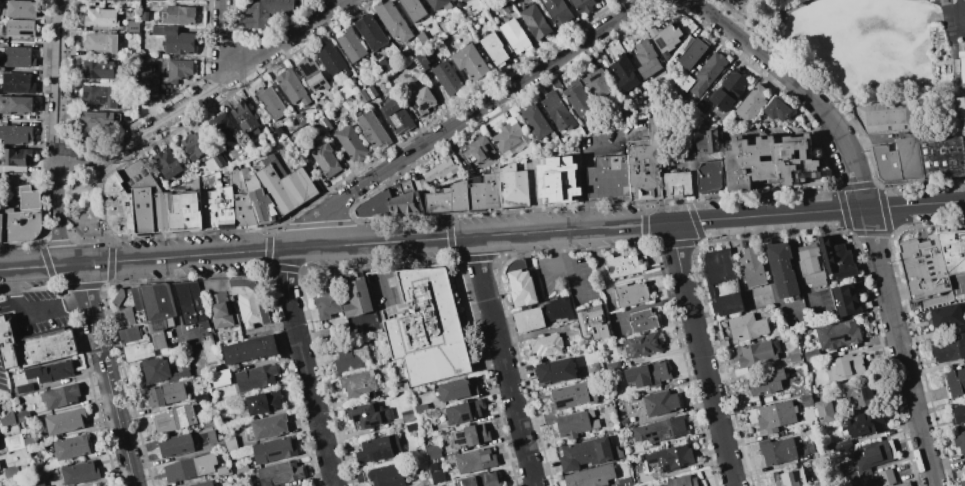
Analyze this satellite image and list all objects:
building: (108, 0)
building: (452, 0)
building: (453, 0)
park: (932, 0)
building: (133, 3)
building: (439, 4)
building: (152, 5)
building: (583, 5)
building: (199, 6)
road: (801, 6)
building: (507, 8)
building: (413, 9)
building: (19, 10)
park: (953, 10)
building: (557, 11)
road: (770, 11)
building: (265, 12)
building: (179, 15)
building: (145, 16)
park: (763, 17)
building: (101, 18)
building: (392, 21)
building: (535, 22)
building: (132, 26)
building: (444, 27)
building: (20, 28)
building: (369, 31)
building: (515, 36)
road: (777, 36)
road: (225, 37)
building: (422, 38)
building: (663, 38)
building: (175, 39)
rooftop solar panel: (659, 43)
building: (101, 44)
building: (350, 44)
building: (495, 49)
building: (690, 51)
building: (405, 53)
building: (18, 57)
building: (331, 59)
building: (646, 59)
building: (421, 62)
building: (471, 62)
building: (384, 66)
building: (961, 66)
rooftop solar panel: (302, 69)
rooftop solar panel: (309, 69)
rooftop solar panel: (313, 69)
building: (101, 71)
building: (178, 71)
building: (707, 72)
building: (312, 74)
building: (623, 74)
building: (148, 75)
rooftop solar panel: (118, 77)
road: (58, 78)
building: (447, 78)
road: (225, 79)
building: (362, 79)
building: (685, 82)
building: (18, 83)
rooftop solar panel: (323, 83)
building: (556, 84)
building: (596, 84)
rooftop solar panel: (319, 85)
building: (291, 86)
building: (344, 90)
building: (370, 91)
building: (727, 91)
building: (149, 95)
building: (362, 96)
building: (99, 97)
rooftop solar panel: (101, 97)
building: (578, 98)
building: (420, 101)
building: (271, 103)
building: (750, 103)
building: (16, 104)
building: (702, 105)
building: (321, 106)
building: (775, 109)
building: (558, 112)
road: (470, 114)
building: (397, 117)
building: (885, 117)
building: (245, 119)
building: (961, 119)
building: (301, 120)
building: (95, 121)
building: (536, 122)
rooftop solar panel: (397, 123)
building: (226, 130)
building: (372, 130)
building: (279, 133)
building: (15, 134)
building: (509, 137)
building: (707, 141)
building: (351, 144)
building: (194, 145)
building: (478, 149)
building: (16, 156)
road: (79, 156)
building: (941, 156)
building: (325, 159)
building: (219, 161)
building: (897, 161)
building: (770, 162)
building: (167, 163)
building: (645, 165)
building: (440, 169)
building: (468, 169)
road: (585, 173)
building: (139, 176)
building: (708, 176)
building: (608, 177)
building: (558, 180)
building: (285, 184)
building: (420, 184)
building: (676, 184)
building: (406, 186)
building: (513, 187)
road: (694, 189)
building: (396, 191)
building: (485, 193)
building: (28, 197)
road: (535, 198)
building: (448, 199)
building: (261, 201)
building: (119, 204)
building: (406, 204)
building: (376, 205)
park: (84, 206)
building: (225, 207)
road: (104, 208)
building: (142, 209)
building: (209, 209)
building: (243, 210)
road: (863, 211)
road: (57, 212)
building: (160, 212)
building: (184, 212)
building: (21, 224)
building: (1, 227)
road: (482, 235)
road: (559, 242)
building: (952, 251)
building: (837, 260)
building: (621, 264)
building: (811, 265)
road: (797, 266)
building: (751, 267)
building: (922, 267)
road: (738, 269)
building: (782, 269)
road: (575, 271)
road: (555, 272)
road: (768, 276)
parking lot: (570, 279)
building: (721, 281)
building: (519, 284)
building: (631, 293)
building: (356, 296)
road: (174, 297)
parking lot: (757, 297)
building: (844, 299)
building: (190, 301)
building: (217, 301)
building: (328, 301)
building: (156, 302)
building: (249, 302)
parking lot: (818, 305)
road: (645, 306)
building: (556, 309)
road: (33, 313)
parking lot: (37, 313)
parking lot: (793, 316)
building: (947, 316)
building: (528, 319)
building: (641, 321)
building: (592, 322)
building: (134, 326)
building: (747, 327)
building: (427, 328)
building: (160, 332)
building: (838, 335)
rooftop solar panel: (837, 337)
building: (9, 345)
building: (546, 346)
building: (48, 347)
building: (642, 347)
building: (251, 349)
building: (949, 349)
building: (208, 351)
building: (758, 353)
road: (700, 354)
building: (810, 355)
building: (794, 357)
building: (352, 359)
road: (503, 361)
building: (845, 367)
road: (305, 368)
building: (161, 370)
building: (742, 371)
building: (50, 372)
building: (556, 372)
road: (105, 373)
building: (651, 374)
building: (256, 377)
building: (220, 378)
parking lot: (3, 382)
building: (765, 382)
building: (358, 383)
building: (955, 383)
building: (401, 387)
building: (24, 389)
building: (457, 389)
building: (165, 394)
building: (862, 394)
building: (617, 395)
building: (61, 396)
building: (567, 397)
building: (201, 398)
building: (807, 401)
building: (264, 402)
building: (661, 404)
building: (421, 409)
building: (824, 410)
building: (464, 412)
building: (368, 414)
building: (957, 414)
building: (24, 416)
building: (407, 416)
building: (775, 417)
building: (7, 419)
building: (172, 420)
building: (65, 421)
building: (208, 421)
building: (573, 425)
building: (864, 425)
building: (268, 427)
building: (411, 427)
building: (426, 430)
building: (659, 430)
rooftop solar panel: (647, 434)
rooftop solar panel: (652, 434)
rooftop solar panel: (671, 435)
building: (469, 436)
building: (212, 437)
rooftop solar panel: (461, 439)
rooftop solar panel: (654, 440)
building: (14, 442)
building: (960, 442)
building: (229, 444)
building: (177, 445)
building: (841, 446)
building: (71, 447)
building: (379, 449)
building: (274, 450)
building: (778, 451)
rooftop solar panel: (275, 453)
building: (432, 453)
building: (585, 454)
rooftop solar panel: (384, 458)
building: (870, 458)
building: (669, 459)
building: (475, 460)
building: (964, 460)
building: (36, 466)
building: (189, 468)
building: (241, 468)
building: (11, 472)
building: (223, 472)
building: (79, 473)
building: (280, 473)
building: (964, 473)
building: (383, 475)
building: (439, 476)
building: (591, 476)
building: (886, 477)
building: (788, 478)
building: (482, 480)
building: (682, 481)
building: (872, 481)
building: (625, 482)
building: (39, 483)
building: (962, 483)
building: (0, 484)
building: (203, 484)
building: (904, 484)
building: (100, 485)
building: (299, 485)
building: (303, 485)

